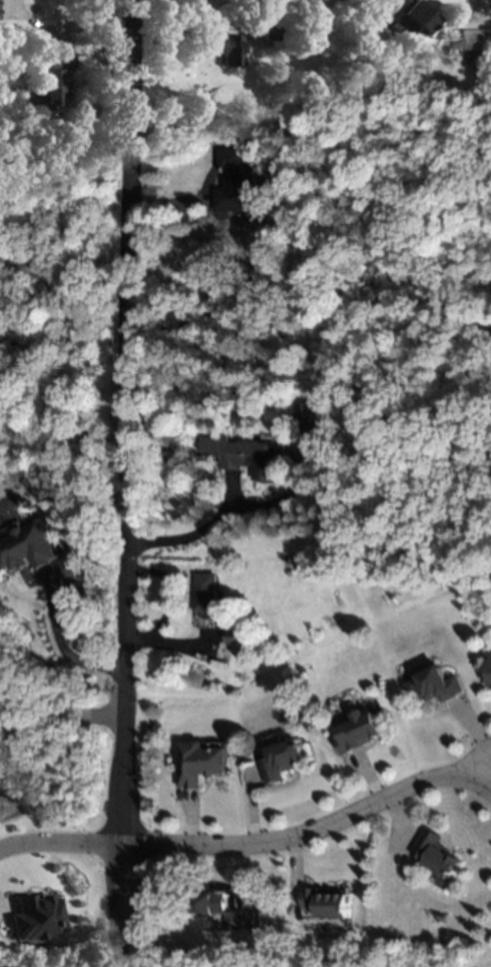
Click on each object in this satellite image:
building: (413, 14)
road: (193, 25)
building: (271, 31)
building: (476, 45)
building: (231, 50)
building: (51, 77)
building: (327, 91)
building: (236, 180)
park: (398, 354)
building: (305, 413)
building: (242, 456)
road: (126, 483)
road: (182, 540)
building: (29, 548)
building: (206, 602)
building: (232, 638)
road: (61, 647)
building: (435, 685)
building: (490, 685)
road: (61, 720)
building: (360, 731)
building: (285, 759)
building: (201, 763)
road: (312, 834)
road: (59, 844)
building: (433, 853)
building: (324, 903)
building: (218, 909)
building: (32, 917)

